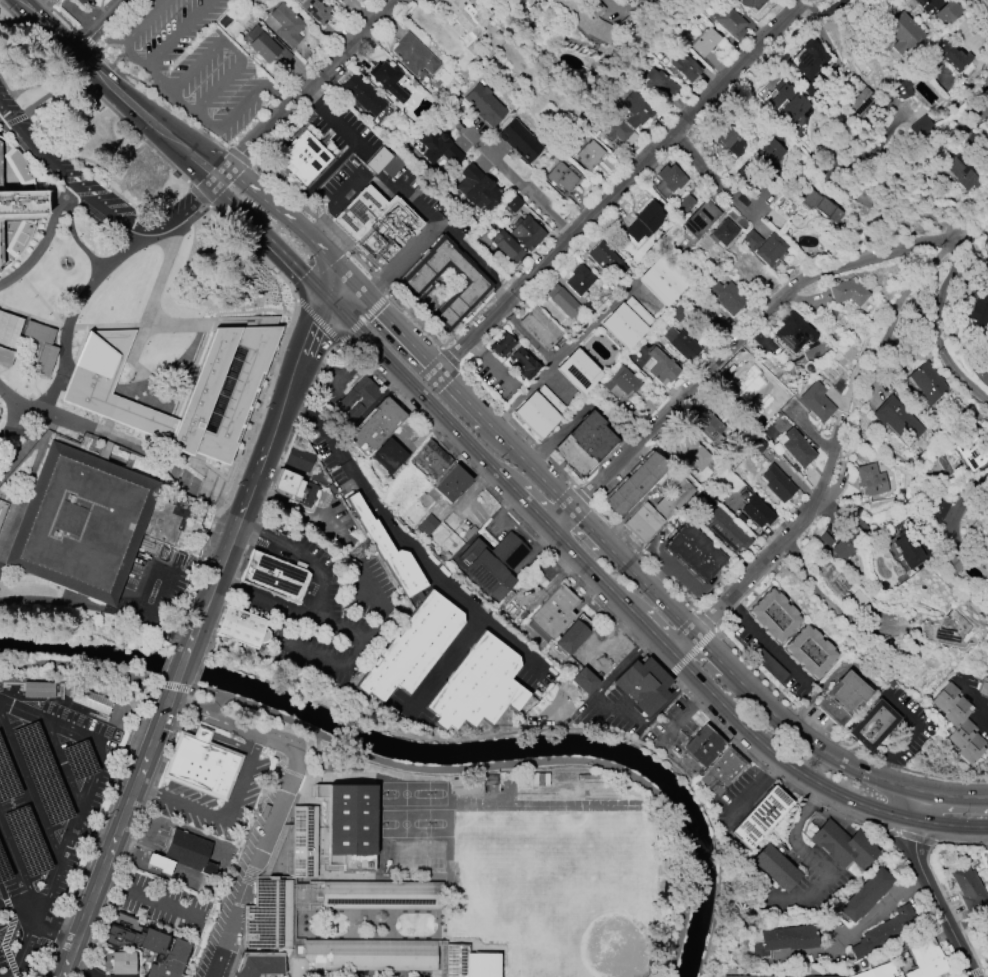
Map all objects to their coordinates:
building: (80, 3)
road: (809, 3)
building: (352, 4)
building: (750, 4)
building: (947, 11)
building: (315, 12)
building: (456, 17)
building: (587, 19)
building: (728, 21)
building: (284, 25)
road: (101, 27)
road: (820, 29)
building: (902, 33)
building: (704, 41)
road: (232, 45)
building: (267, 51)
traffic signals: (75, 54)
building: (415, 55)
building: (951, 58)
building: (809, 59)
road: (146, 64)
parking lot: (194, 64)
building: (684, 66)
building: (386, 80)
building: (660, 83)
building: (987, 84)
road: (306, 87)
building: (902, 89)
road: (117, 90)
road: (277, 92)
building: (363, 97)
building: (860, 101)
building: (786, 102)
building: (485, 105)
building: (635, 109)
road: (331, 116)
road: (206, 120)
building: (920, 126)
building: (617, 130)
building: (726, 136)
building: (520, 141)
building: (437, 145)
building: (987, 152)
building: (589, 155)
building: (769, 157)
building: (299, 160)
parking lot: (69, 164)
building: (17, 167)
building: (962, 171)
road: (379, 176)
building: (564, 176)
building: (668, 180)
road: (714, 180)
road: (521, 185)
road: (61, 188)
building: (477, 189)
road: (622, 190)
road: (98, 199)
road: (266, 200)
building: (19, 204)
building: (513, 204)
building: (820, 205)
building: (684, 206)
road: (336, 207)
building: (701, 219)
building: (644, 221)
building: (375, 224)
building: (527, 232)
building: (723, 232)
road: (426, 234)
road: (269, 239)
building: (18, 240)
building: (751, 240)
road: (41, 247)
building: (507, 247)
building: (986, 248)
building: (769, 249)
road: (326, 257)
road: (478, 257)
building: (606, 259)
traffic signals: (346, 277)
building: (581, 281)
building: (662, 281)
building: (417, 283)
road: (91, 284)
road: (355, 286)
road: (336, 287)
building: (846, 293)
building: (726, 296)
traffic signals: (326, 297)
building: (563, 302)
road: (151, 303)
building: (980, 305)
road: (870, 308)
building: (678, 312)
building: (627, 322)
road: (59, 323)
road: (940, 325)
road: (63, 326)
road: (106, 327)
building: (538, 329)
building: (792, 332)
building: (502, 344)
building: (681, 344)
road: (728, 352)
road: (560, 357)
building: (984, 358)
road: (492, 363)
building: (524, 363)
building: (661, 367)
building: (579, 372)
building: (746, 372)
building: (928, 382)
building: (621, 384)
building: (218, 395)
building: (358, 399)
building: (815, 402)
building: (539, 411)
building: (897, 420)
building: (707, 425)
building: (376, 426)
road: (113, 439)
road: (27, 443)
building: (586, 444)
building: (797, 448)
building: (971, 451)
building: (689, 453)
building: (390, 456)
building: (432, 459)
road: (255, 469)
building: (292, 469)
building: (870, 480)
building: (777, 483)
building: (451, 484)
building: (636, 484)
building: (674, 495)
road: (958, 505)
building: (757, 512)
building: (943, 512)
building: (80, 523)
building: (643, 523)
building: (426, 525)
building: (727, 530)
road: (400, 538)
building: (845, 538)
building: (388, 550)
building: (905, 551)
building: (985, 552)
building: (696, 553)
building: (492, 563)
road: (628, 568)
road: (750, 574)
parking lot: (156, 577)
building: (272, 578)
building: (833, 580)
road: (166, 582)
road: (548, 584)
road: (604, 584)
road: (323, 596)
road: (60, 600)
road: (122, 600)
building: (553, 614)
building: (774, 616)
building: (946, 628)
road: (172, 629)
building: (237, 630)
building: (572, 637)
road: (611, 637)
road: (769, 643)
building: (412, 648)
building: (810, 652)
road: (182, 661)
road: (348, 664)
road: (77, 665)
road: (442, 668)
building: (586, 681)
road: (173, 683)
building: (645, 685)
building: (478, 687)
building: (983, 687)
building: (38, 688)
road: (970, 693)
building: (843, 698)
building: (91, 699)
road: (607, 704)
road: (680, 715)
road: (159, 719)
building: (958, 723)
building: (873, 726)
road: (554, 729)
road: (907, 732)
road: (206, 733)
road: (51, 743)
building: (700, 745)
river: (432, 751)
road: (517, 763)
building: (205, 766)
building: (721, 770)
road: (752, 785)
road: (28, 791)
road: (277, 797)
road: (955, 798)
track: (549, 803)
road: (921, 808)
parking lot: (45, 815)
road: (223, 817)
building: (758, 817)
building: (353, 820)
road: (952, 826)
road: (67, 835)
road: (91, 835)
road: (793, 840)
building: (842, 845)
building: (190, 849)
building: (402, 855)
building: (419, 855)
building: (436, 856)
road: (104, 863)
building: (161, 863)
building: (774, 867)
road: (18, 870)
building: (967, 887)
road: (2, 890)
park: (557, 895)
building: (865, 895)
road: (152, 896)
building: (384, 897)
road: (8, 901)
road: (936, 901)
road: (19, 905)
road: (878, 912)
road: (11, 916)
road: (49, 922)
building: (885, 930)
road: (6, 936)
building: (784, 939)
building: (149, 944)
building: (926, 959)
building: (124, 963)
road: (81, 967)
road: (62, 970)
building: (878, 971)
road: (16, 976)
building: (748, 976)
building: (812, 976)

